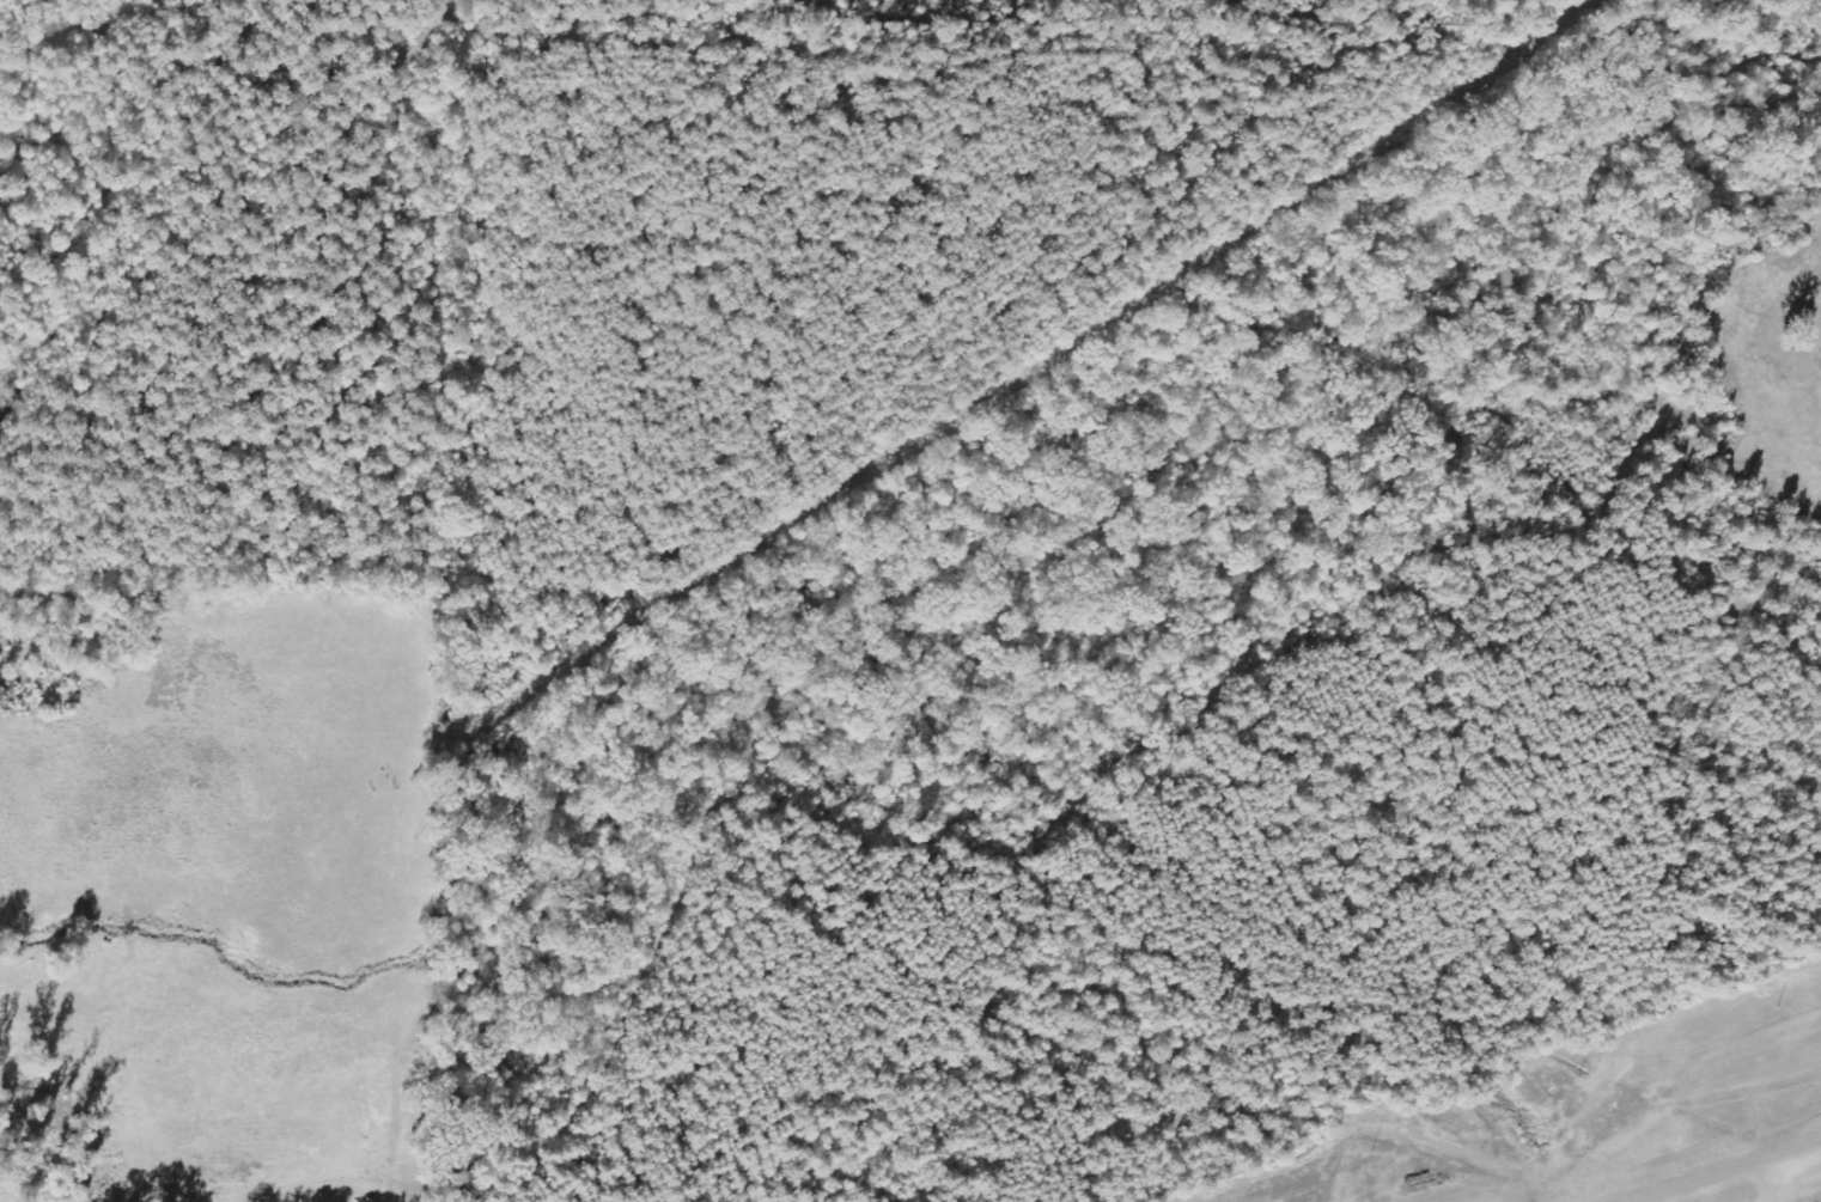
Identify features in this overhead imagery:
airport runway: (1753, 1178)

